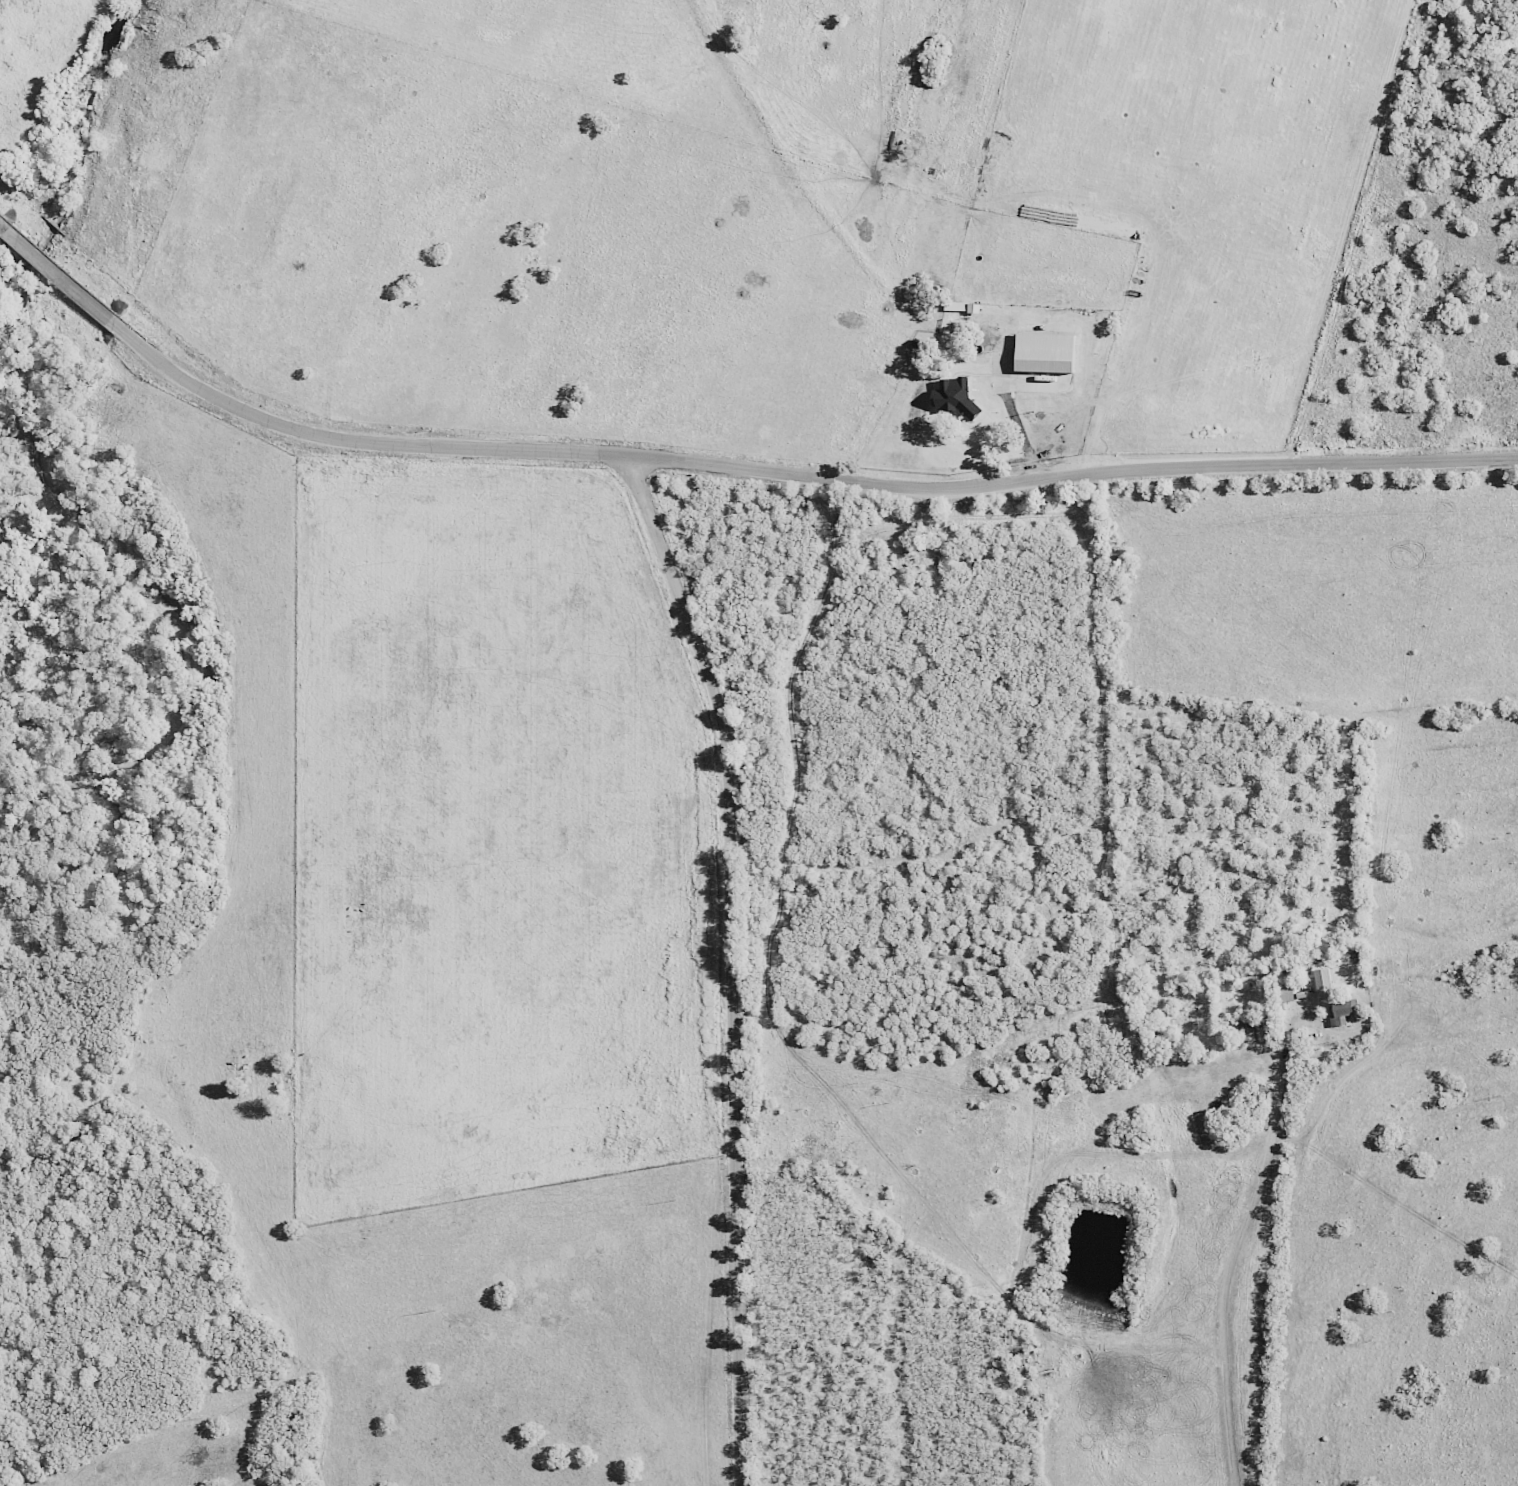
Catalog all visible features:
building: (1042, 352)
road: (725, 461)
road: (733, 961)
building: (1321, 983)
building: (1341, 1011)

